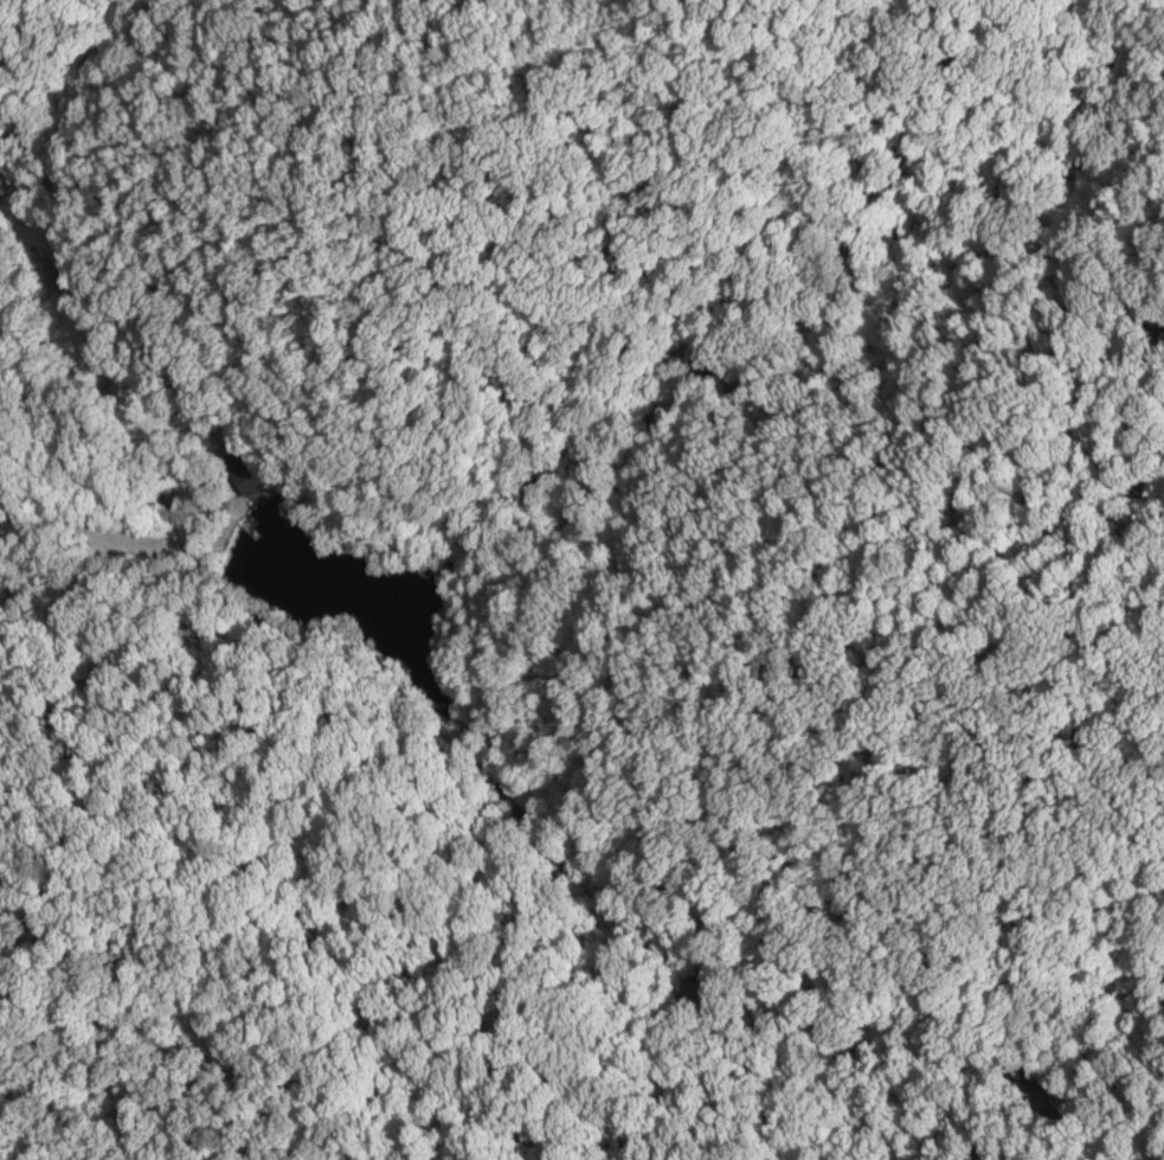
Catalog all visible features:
building: (249, 469)
building: (169, 496)

